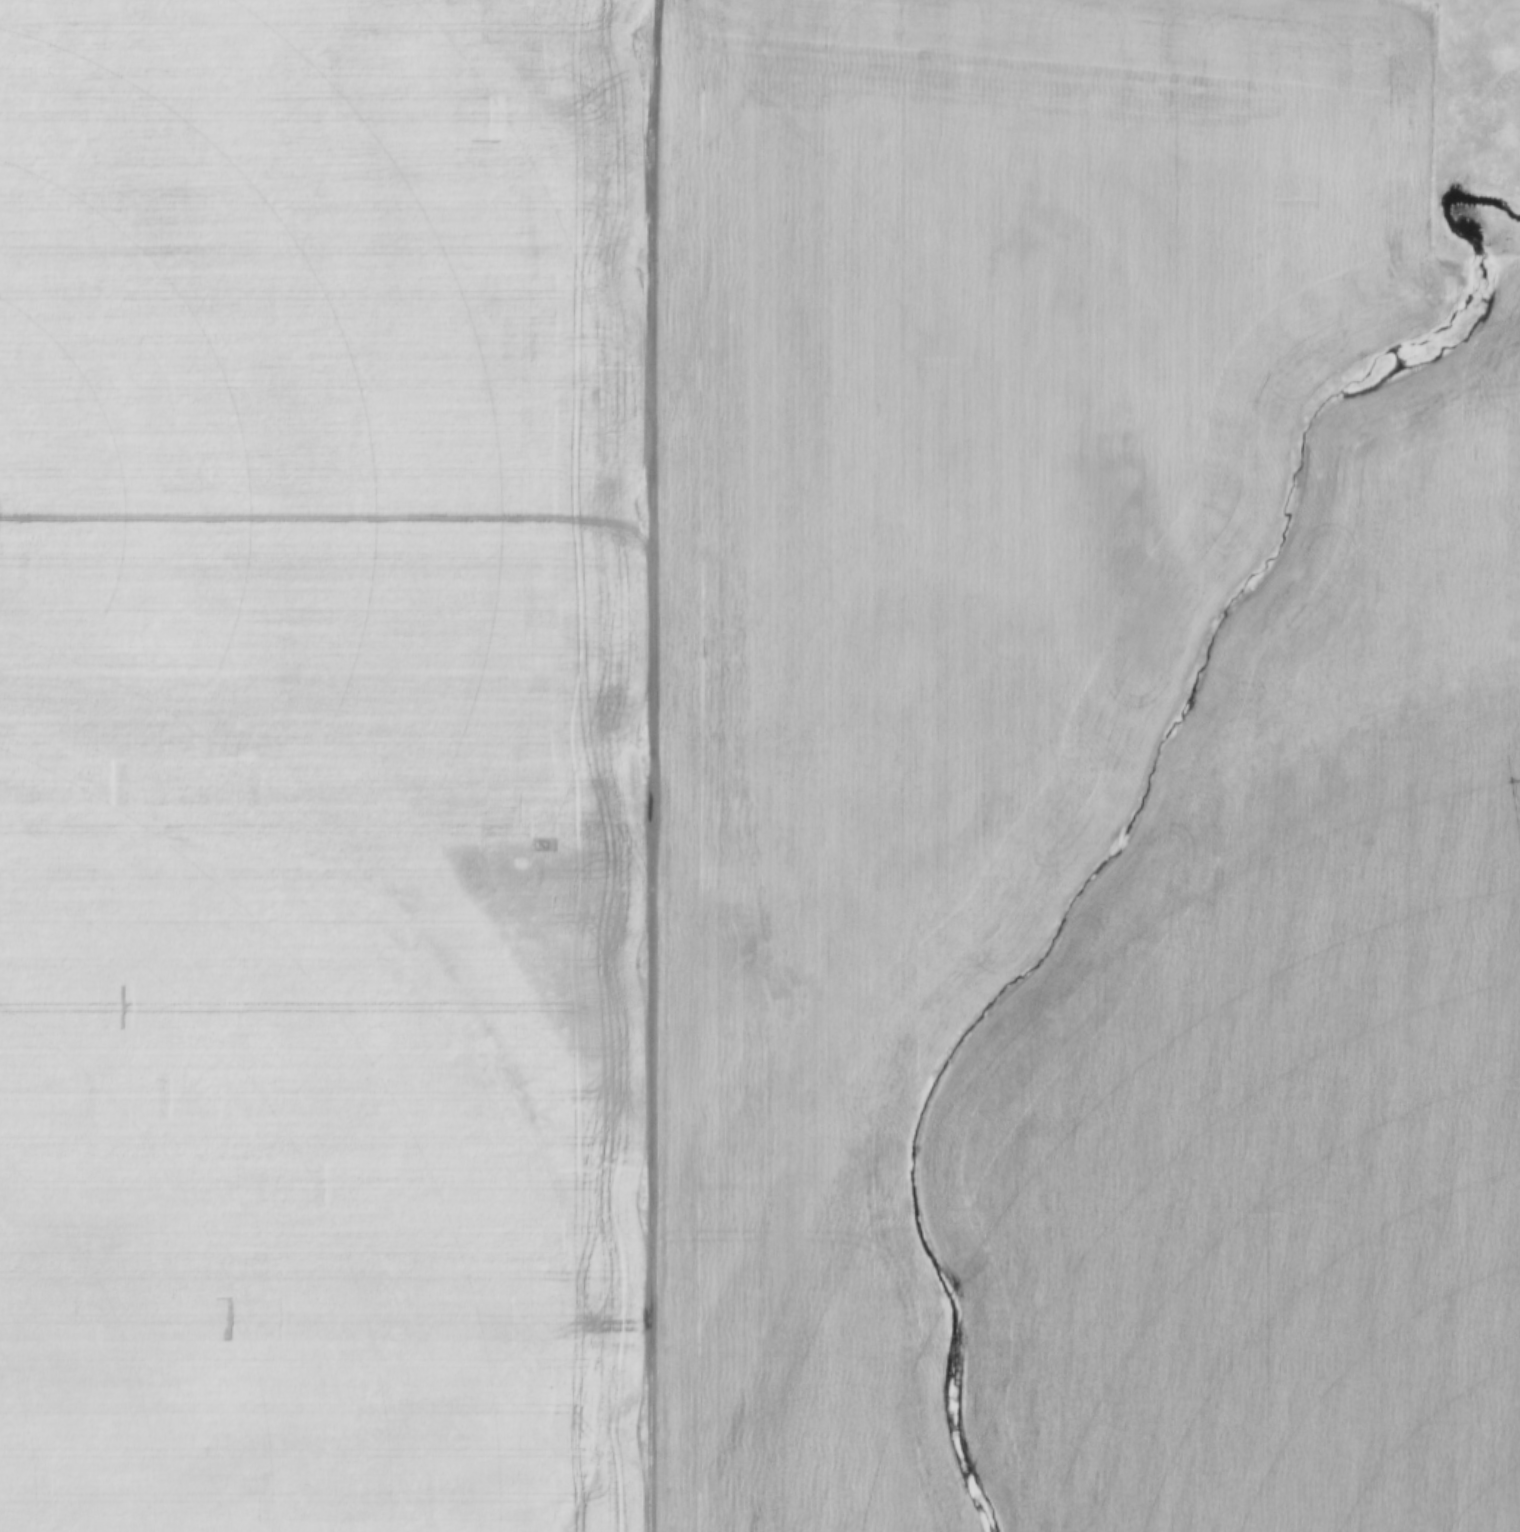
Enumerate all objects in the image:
road: (663, 766)

